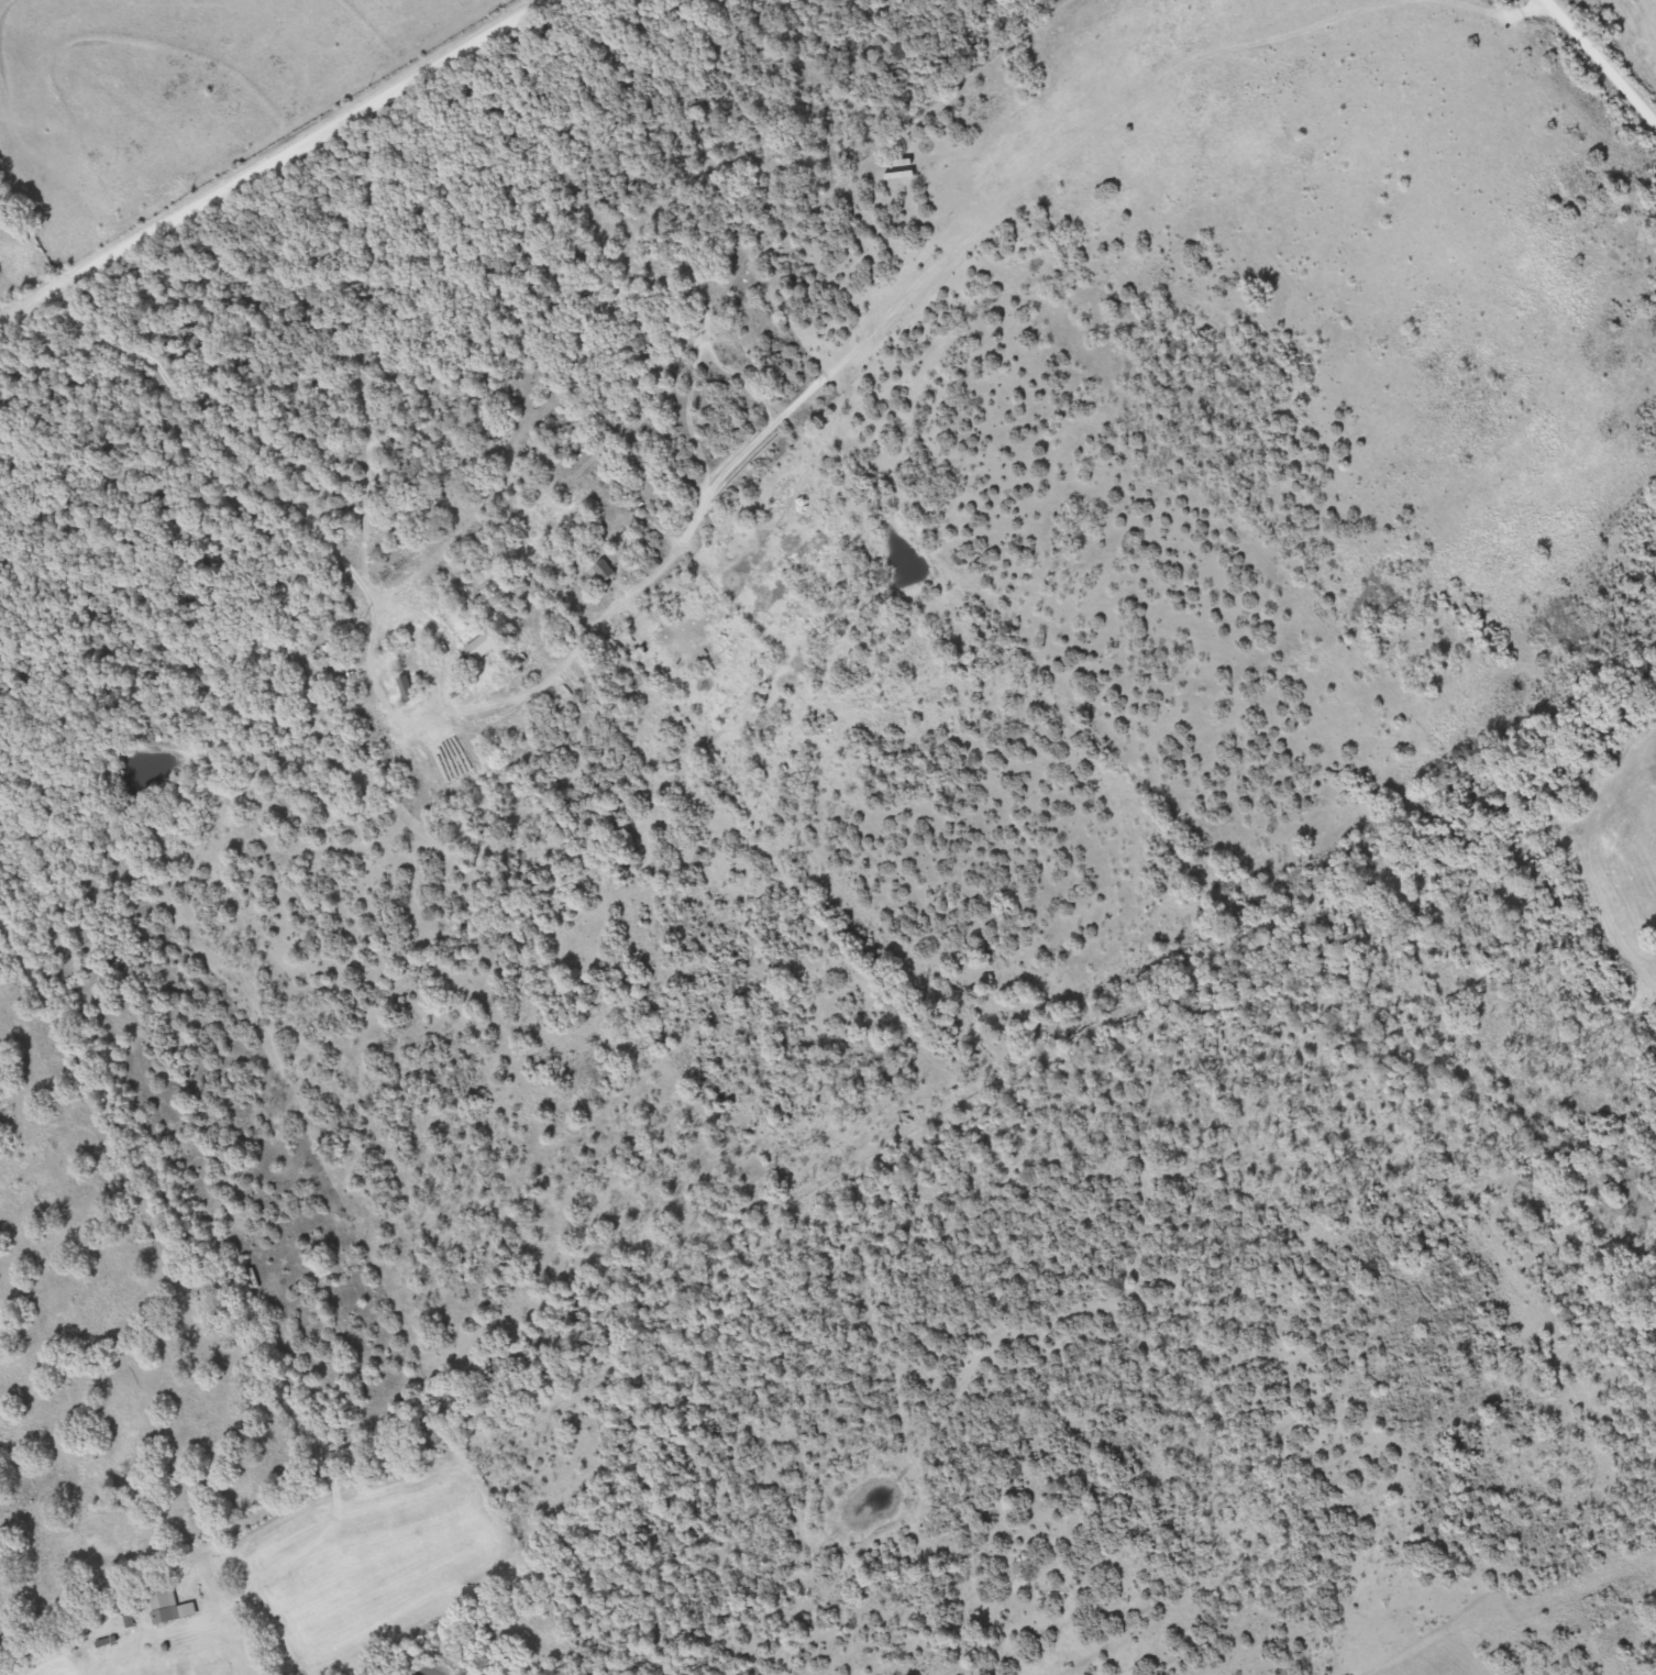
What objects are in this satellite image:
road: (1602, 60)
road: (276, 164)
building: (390, 572)
building: (605, 572)
building: (483, 647)
road: (489, 714)
road: (199, 1274)
building: (169, 1607)

